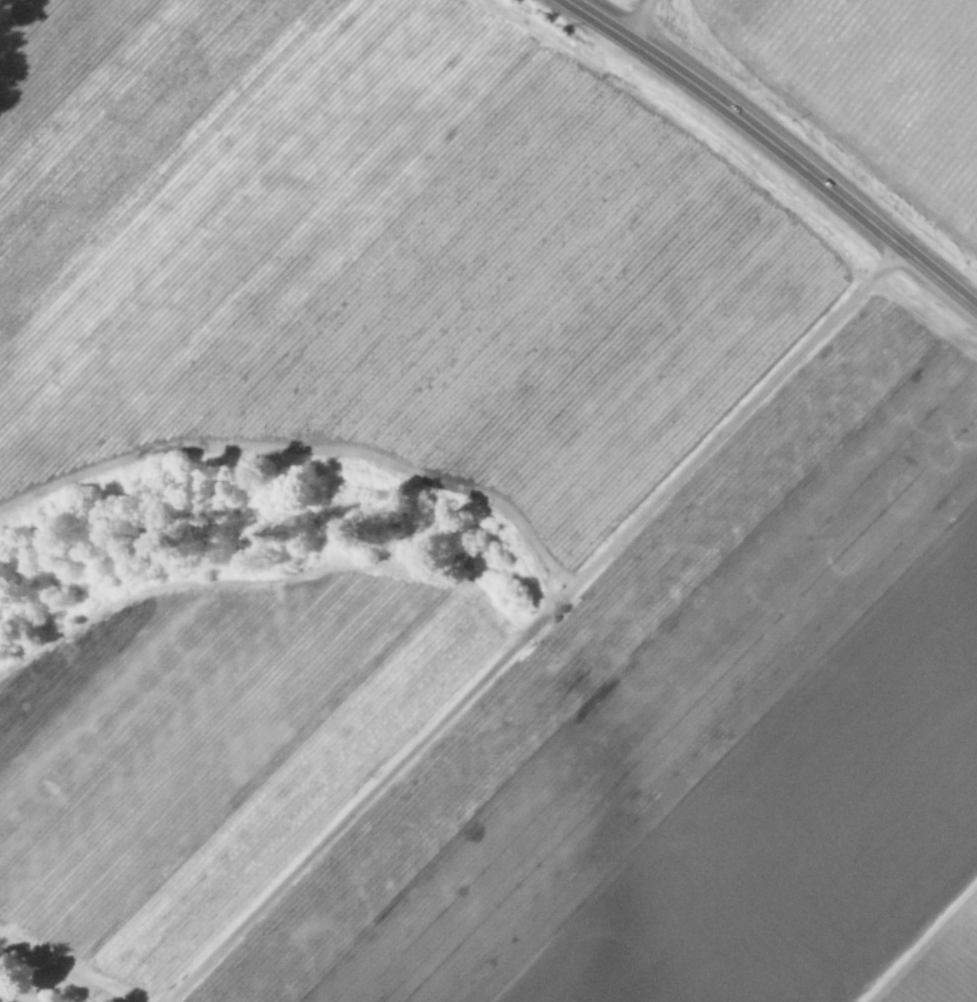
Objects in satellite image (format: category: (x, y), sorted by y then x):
road: (637, 20)
crop: (867, 89)
road: (776, 146)
crop: (745, 511)

